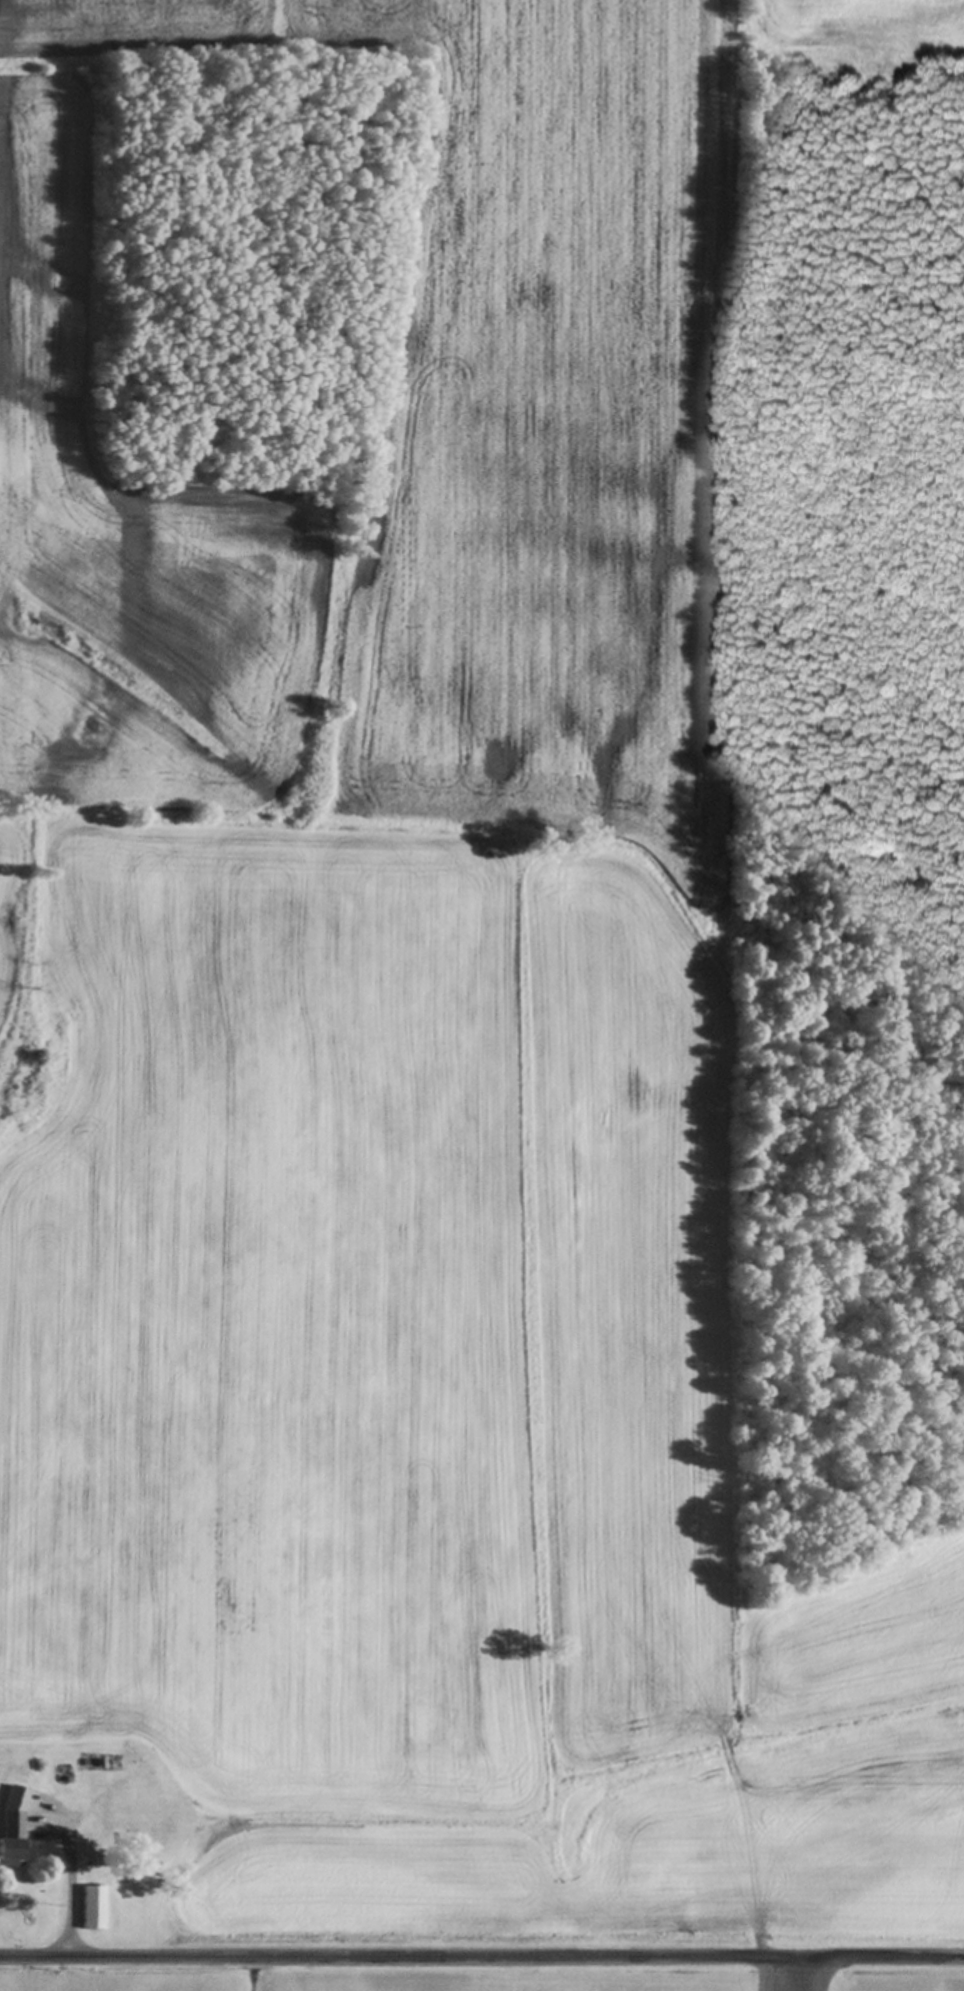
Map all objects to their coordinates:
building: (12, 1837)
road: (64, 1899)
building: (91, 1908)
road: (482, 1959)
road: (759, 1975)
road: (814, 1975)

